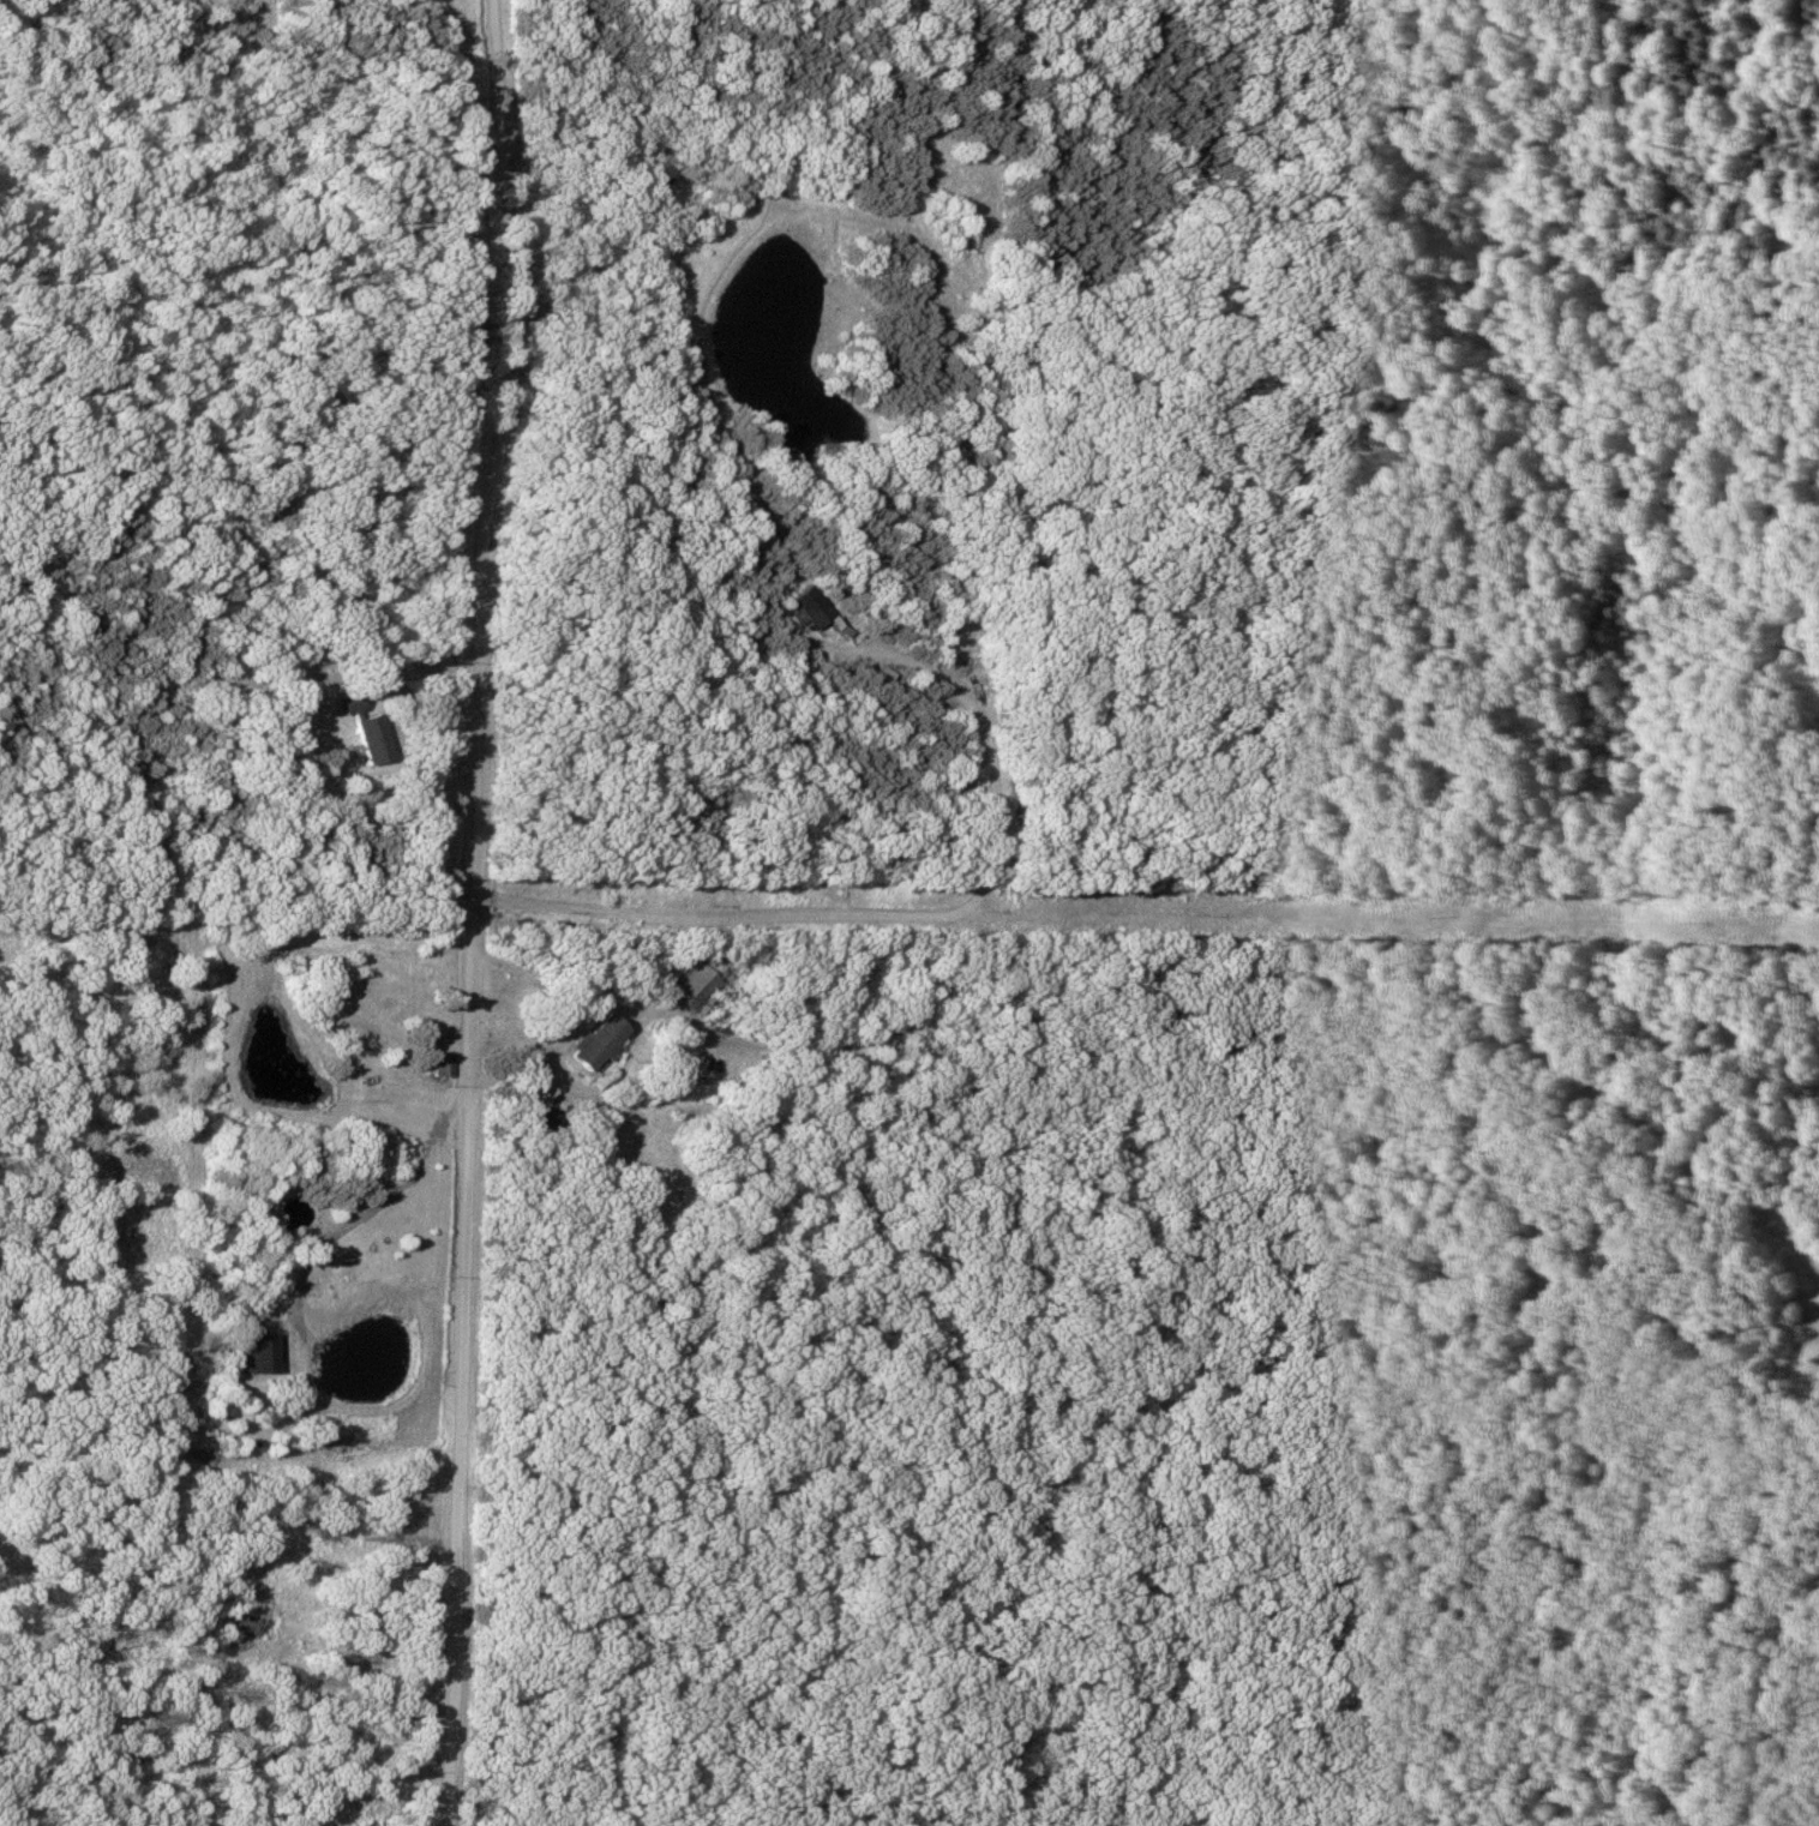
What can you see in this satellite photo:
building: (808, 607)
building: (346, 703)
building: (367, 738)
road: (472, 911)
building: (690, 986)
building: (388, 1010)
building: (593, 1041)
building: (442, 1064)
building: (539, 1118)
building: (252, 1353)

